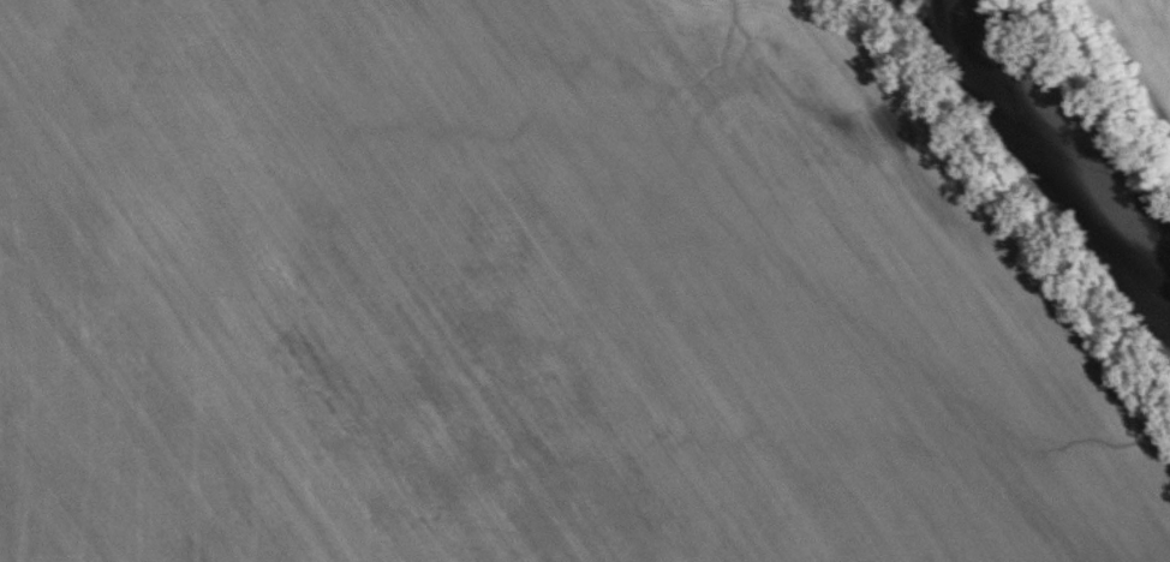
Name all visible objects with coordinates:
river: (1055, 166)

